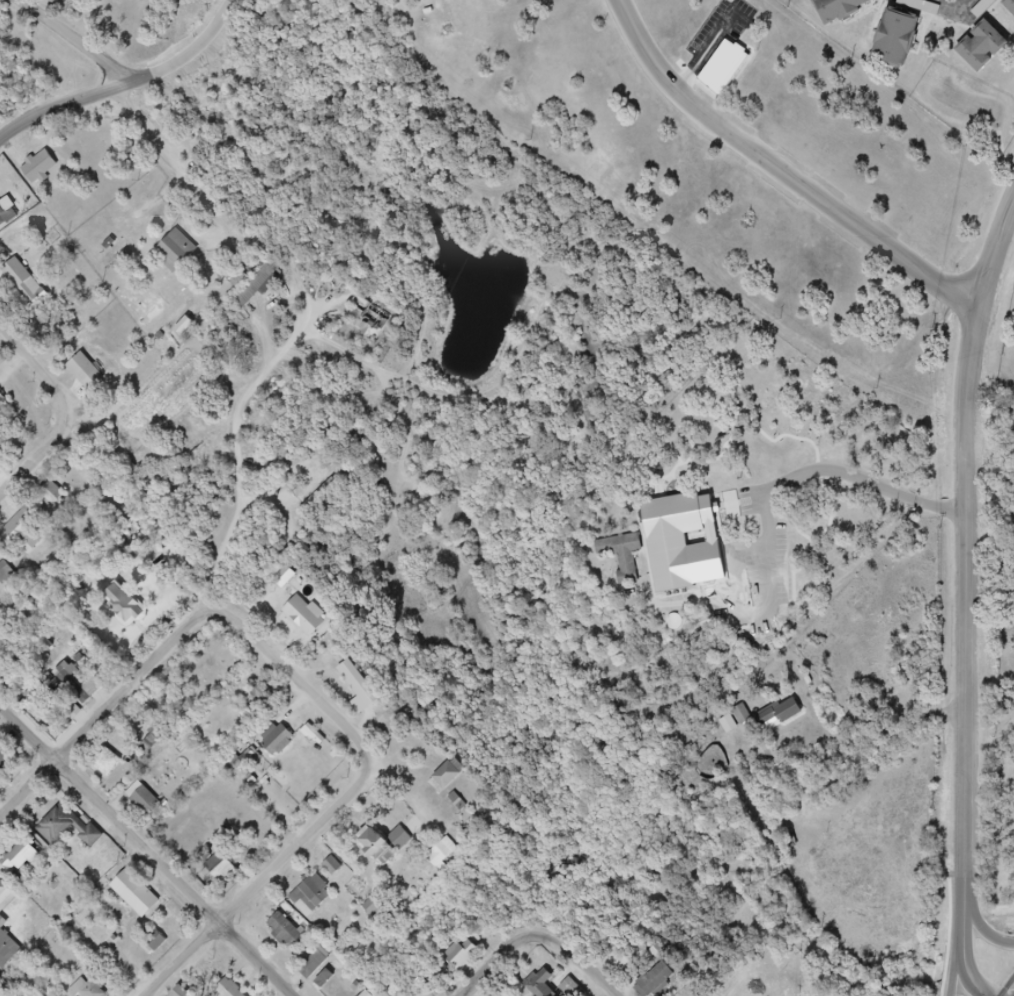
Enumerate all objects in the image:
road: (964, 2)
building: (1012, 5)
building: (845, 10)
building: (902, 40)
road: (79, 41)
road: (192, 50)
building: (989, 53)
building: (729, 73)
road: (64, 105)
road: (781, 169)
building: (46, 173)
road: (195, 178)
building: (183, 256)
road: (993, 258)
building: (260, 285)
building: (32, 292)
road: (257, 323)
road: (39, 368)
building: (94, 379)
building: (5, 407)
road: (241, 452)
road: (38, 463)
road: (873, 483)
building: (53, 493)
road: (269, 496)
building: (60, 504)
building: (29, 539)
building: (623, 555)
building: (681, 556)
building: (284, 578)
building: (8, 582)
building: (133, 612)
building: (312, 628)
road: (967, 654)
building: (81, 691)
road: (310, 698)
building: (366, 700)
building: (779, 714)
building: (743, 715)
road: (110, 717)
building: (285, 747)
building: (247, 760)
building: (8, 762)
building: (111, 767)
building: (449, 775)
building: (454, 791)
building: (152, 805)
building: (75, 831)
building: (400, 839)
road: (147, 851)
building: (391, 854)
building: (443, 854)
building: (18, 860)
building: (30, 868)
building: (227, 872)
road: (257, 892)
building: (322, 895)
building: (6, 896)
building: (142, 899)
building: (292, 934)
road: (988, 935)
building: (156, 942)
building: (11, 951)
road: (964, 954)
building: (462, 955)
building: (317, 961)
road: (514, 963)
road: (580, 963)
building: (466, 967)
building: (654, 979)
building: (572, 988)
building: (546, 989)
building: (90, 991)
building: (233, 991)

